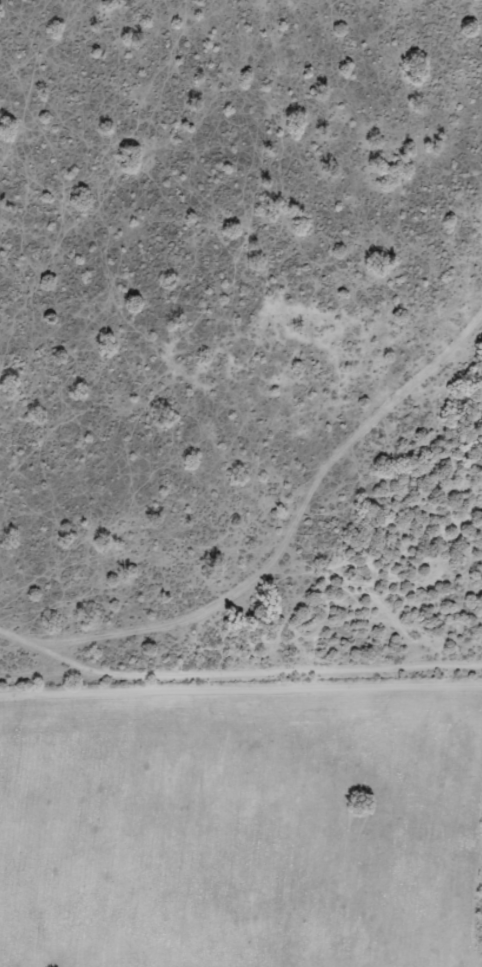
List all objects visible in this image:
road: (270, 537)
road: (241, 707)

